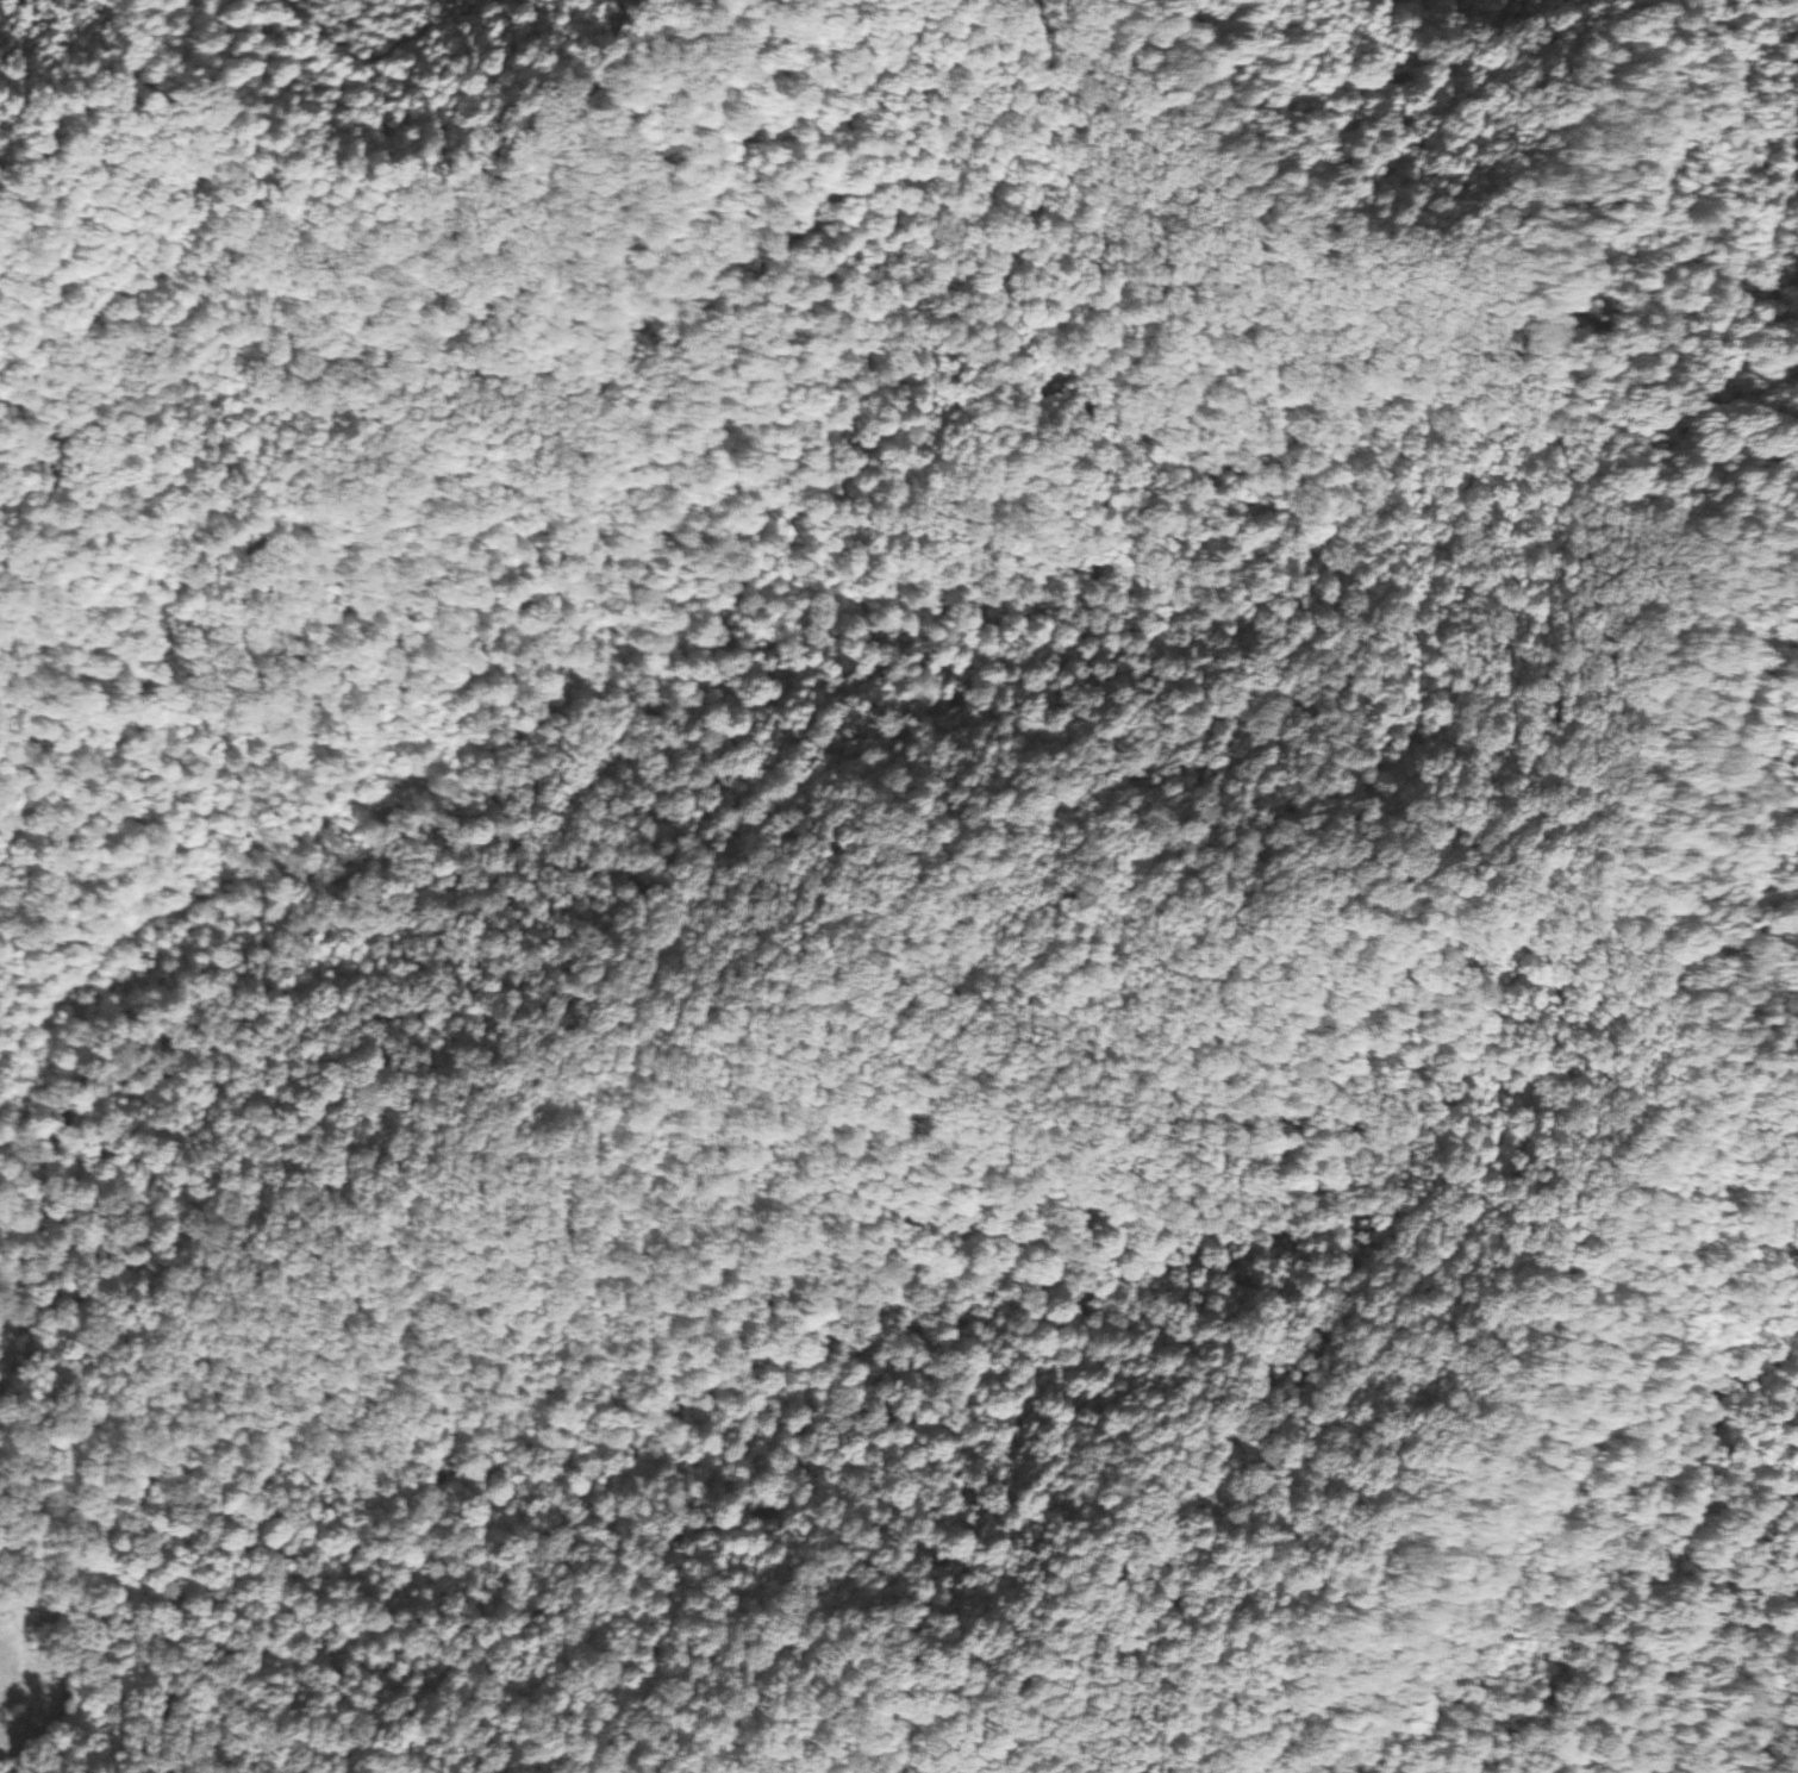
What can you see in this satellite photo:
building: (614, 1649)

